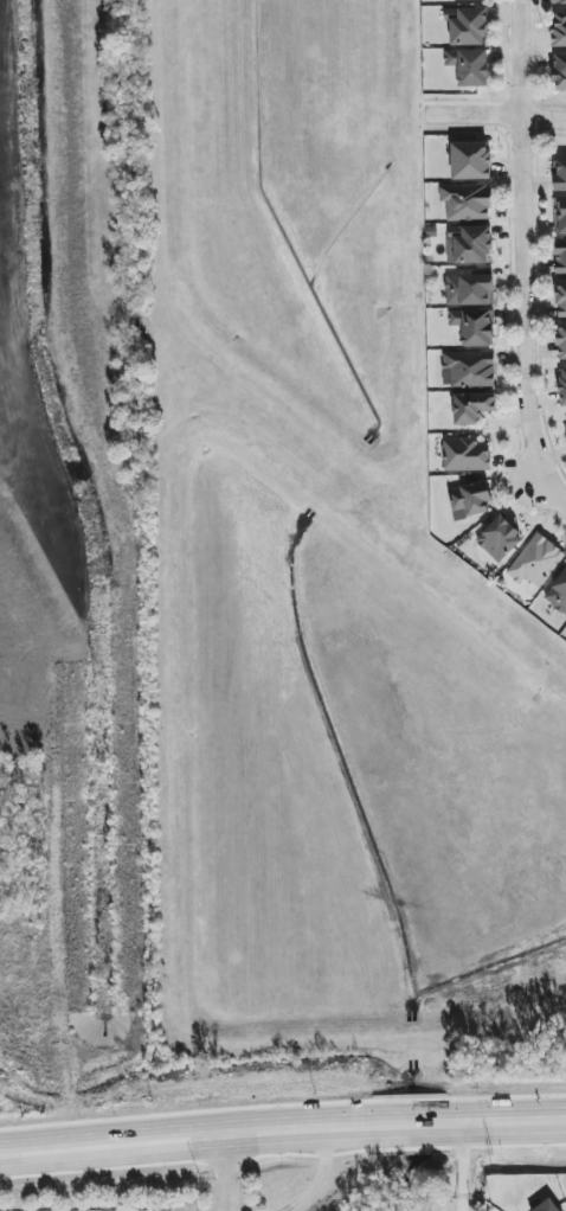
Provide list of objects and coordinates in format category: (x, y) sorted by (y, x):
building: (451, 0)
building: (558, 2)
building: (467, 26)
building: (559, 30)
building: (470, 66)
building: (560, 72)
road: (496, 115)
building: (470, 160)
building: (560, 175)
building: (467, 201)
building: (561, 214)
building: (470, 245)
road: (520, 262)
building: (470, 290)
building: (561, 299)
building: (474, 326)
building: (561, 340)
building: (469, 370)
building: (562, 386)
building: (472, 408)
building: (565, 429)
building: (465, 455)
building: (470, 499)
building: (500, 539)
building: (536, 562)
building: (558, 594)
road: (282, 1120)
road: (474, 1161)
road: (226, 1167)

